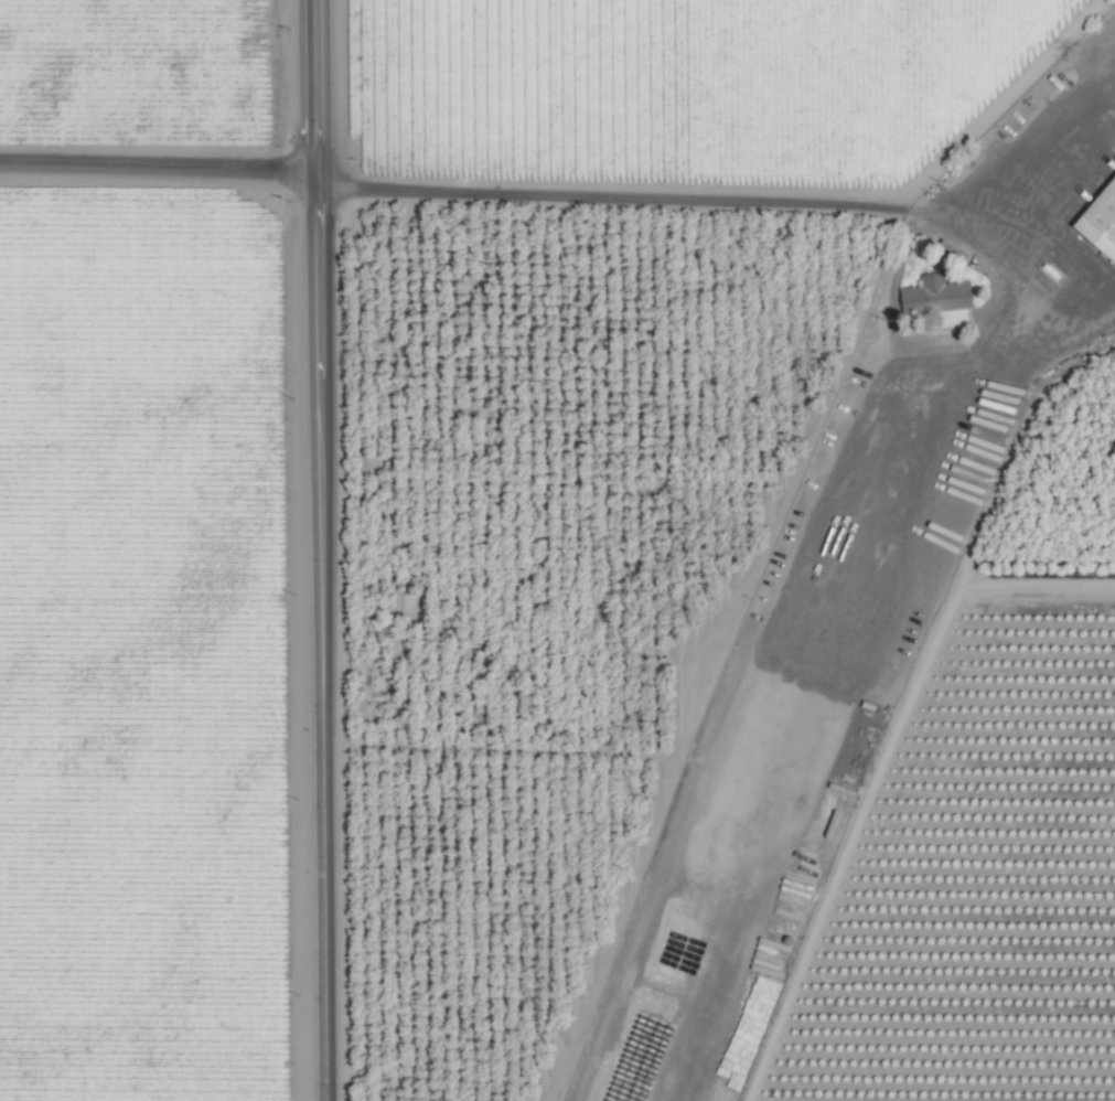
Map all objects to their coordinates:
road: (997, 104)
road: (157, 171)
road: (750, 197)
building: (1101, 220)
building: (937, 293)
road: (320, 549)
crop: (557, 550)

